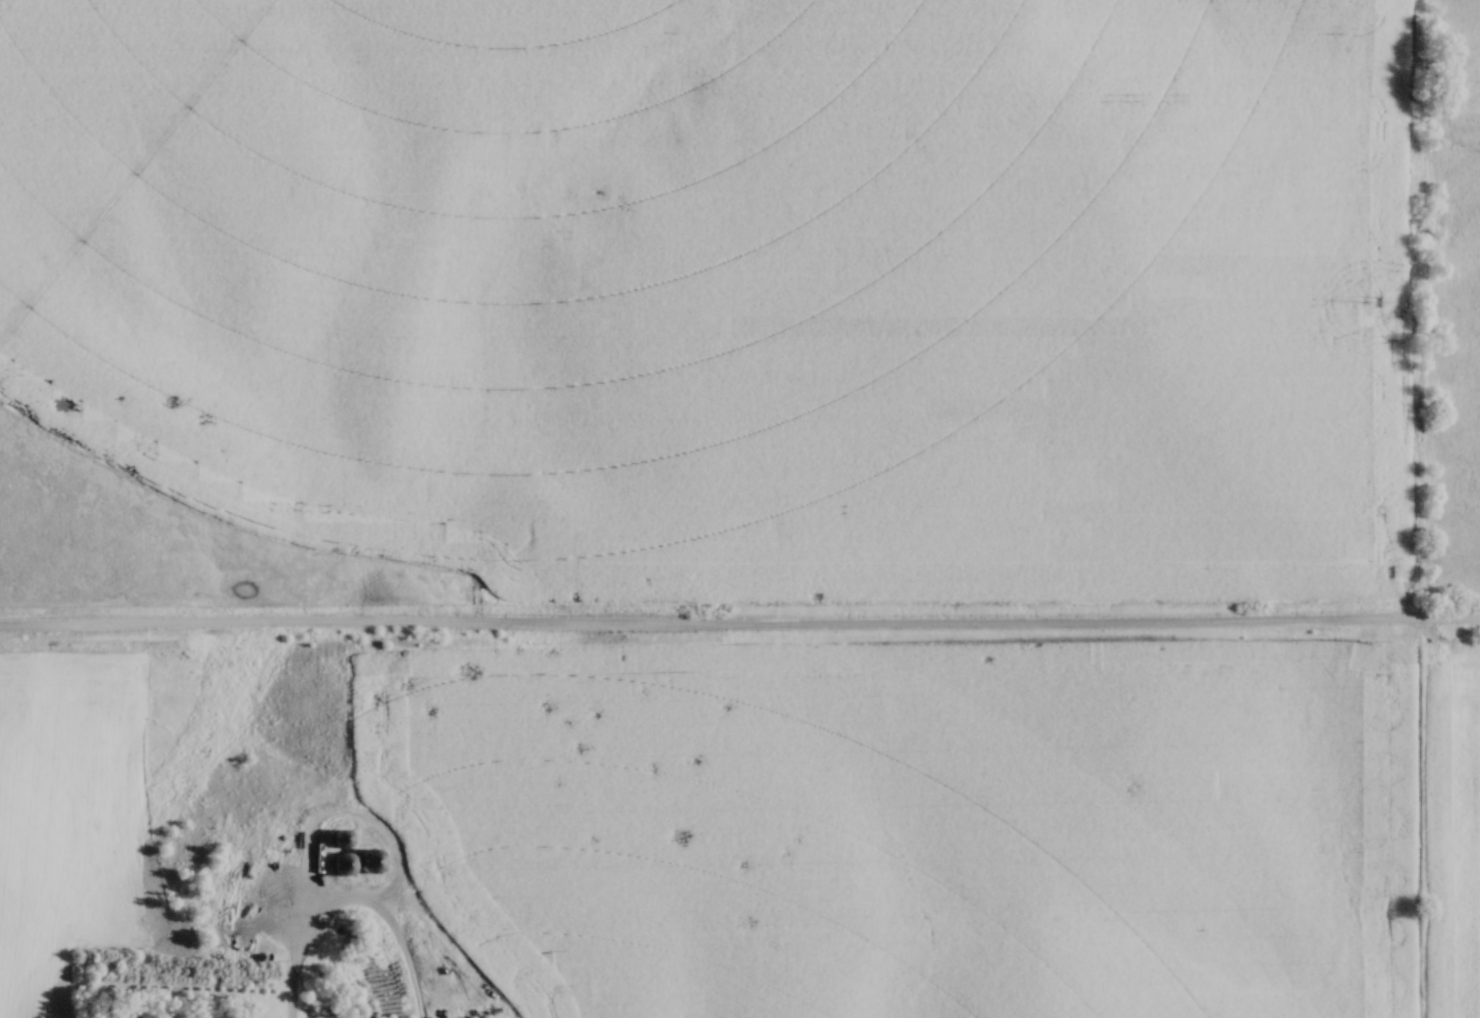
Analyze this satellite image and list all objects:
power tower: (1372, 303)
road: (740, 631)
power tower: (1371, 643)
building: (336, 842)
building: (352, 864)

